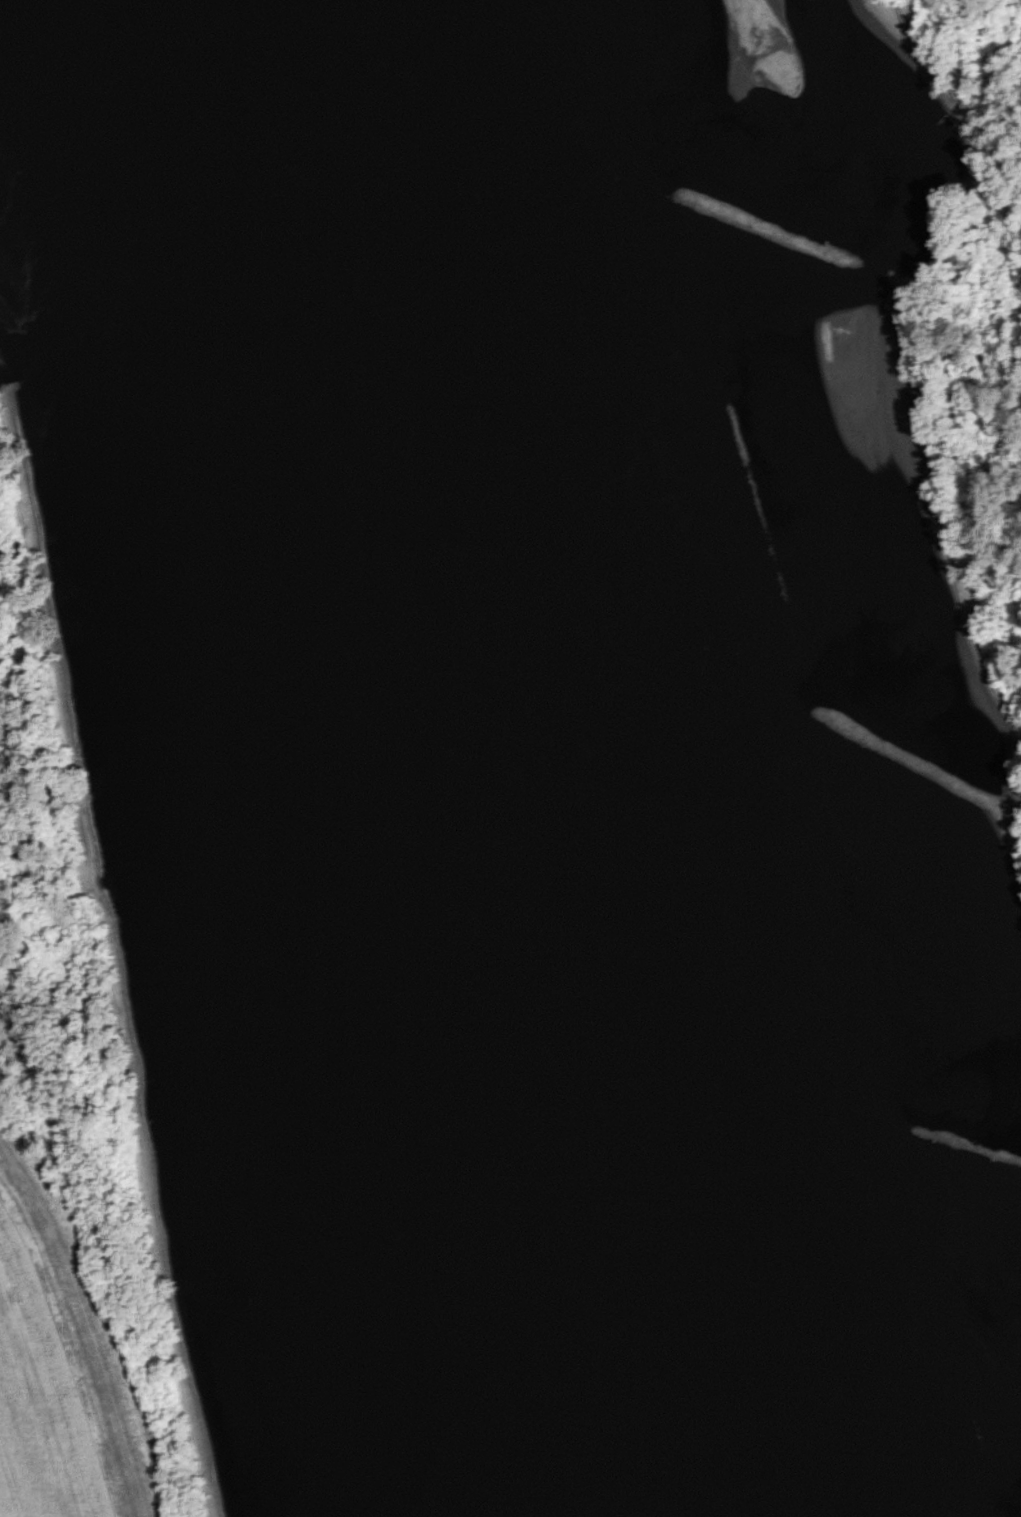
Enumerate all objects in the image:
river: (595, 754)
road: (87, 1327)
crop: (39, 1402)

